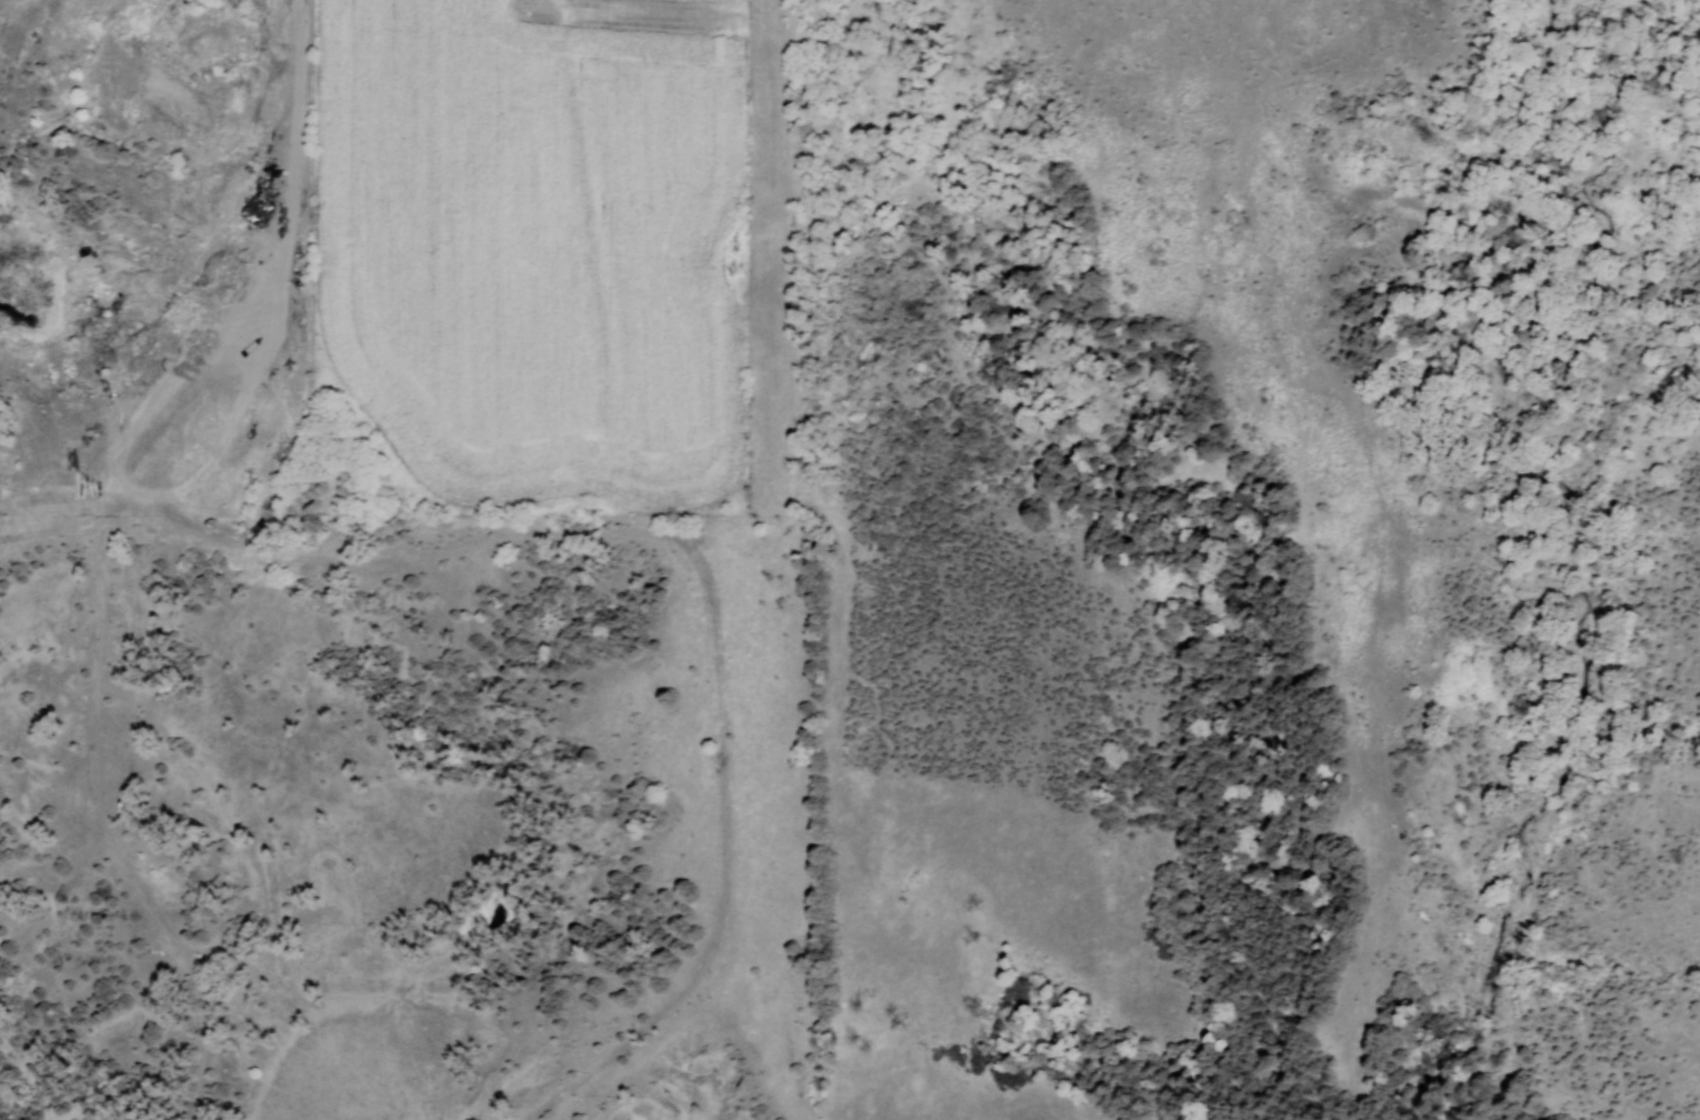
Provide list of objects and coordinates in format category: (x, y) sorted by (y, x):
crop: (530, 247)

